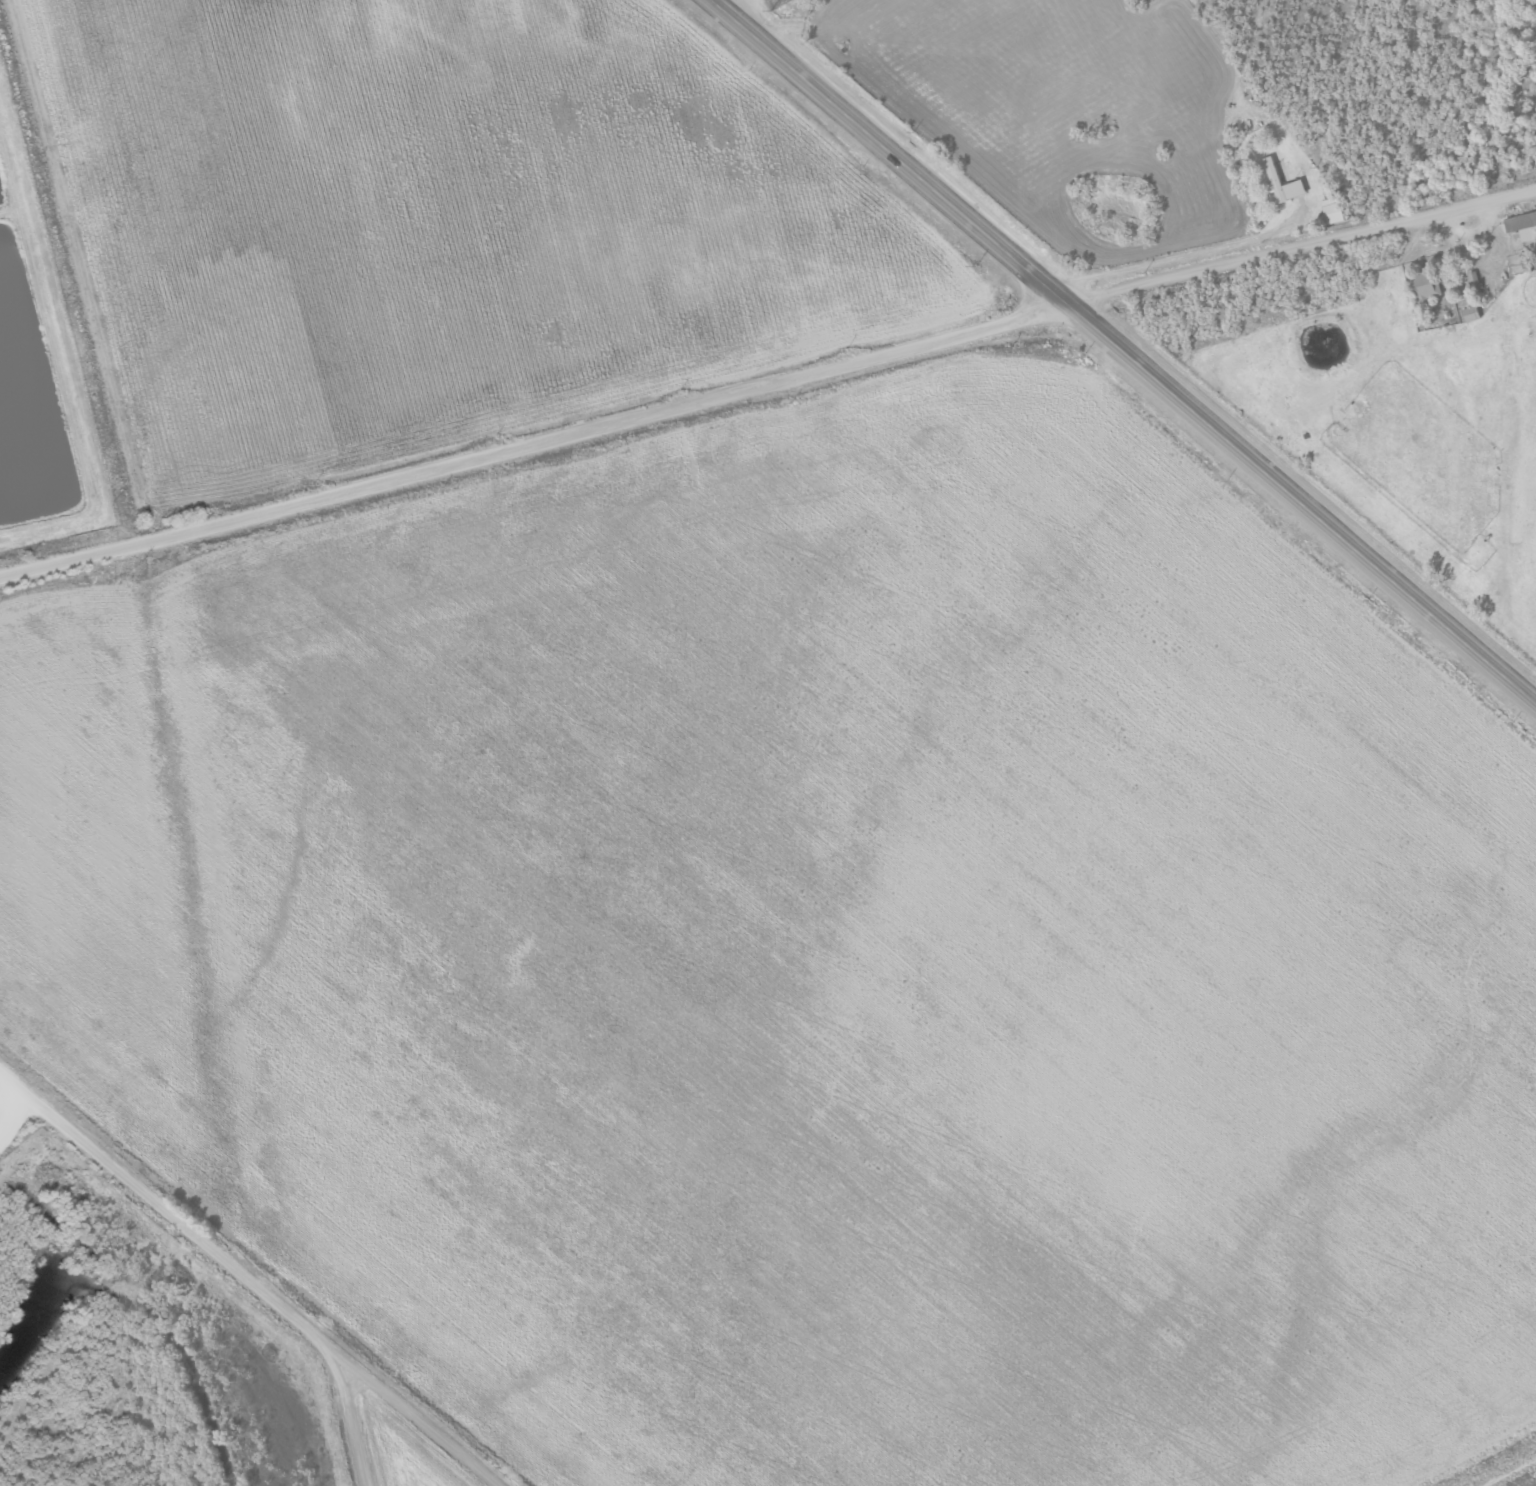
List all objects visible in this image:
building: (1276, 179)
building: (1333, 210)
building: (1523, 225)
road: (1299, 245)
road: (1153, 263)
building: (1518, 263)
building: (1427, 285)
building: (1472, 314)
road: (1120, 351)
road: (531, 439)
railway: (282, 1253)
road: (241, 1285)
road: (339, 1420)

